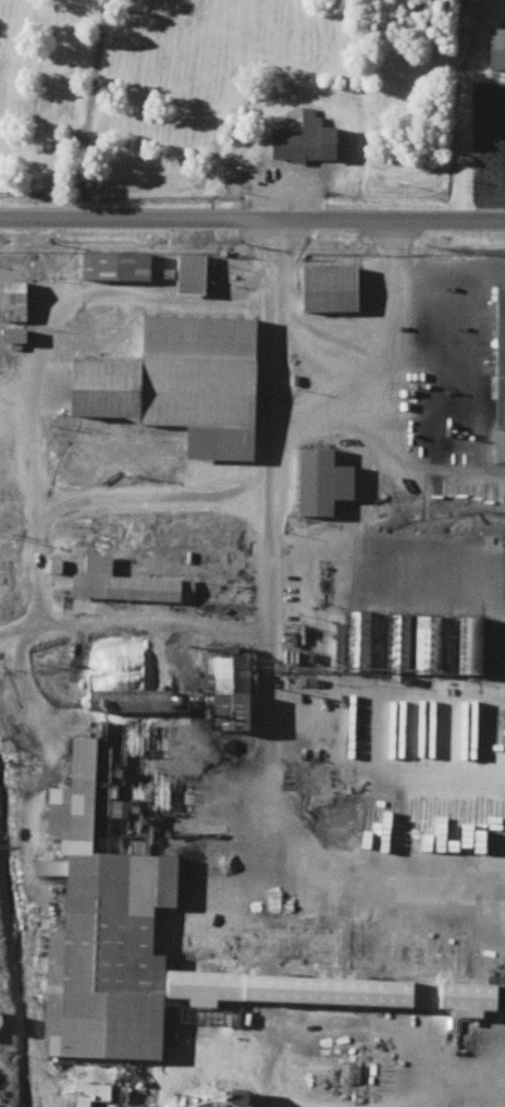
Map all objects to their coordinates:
building: (497, 49)
road: (82, 108)
building: (311, 142)
road: (251, 218)
building: (112, 266)
building: (192, 275)
building: (337, 290)
building: (13, 302)
building: (498, 377)
building: (185, 384)
building: (330, 484)
building: (159, 587)
road: (246, 597)
building: (235, 696)
building: (130, 701)
building: (406, 730)
building: (435, 730)
building: (114, 930)
building: (344, 949)
building: (468, 960)
road: (223, 1048)
railway: (167, 1074)
road: (489, 1105)

